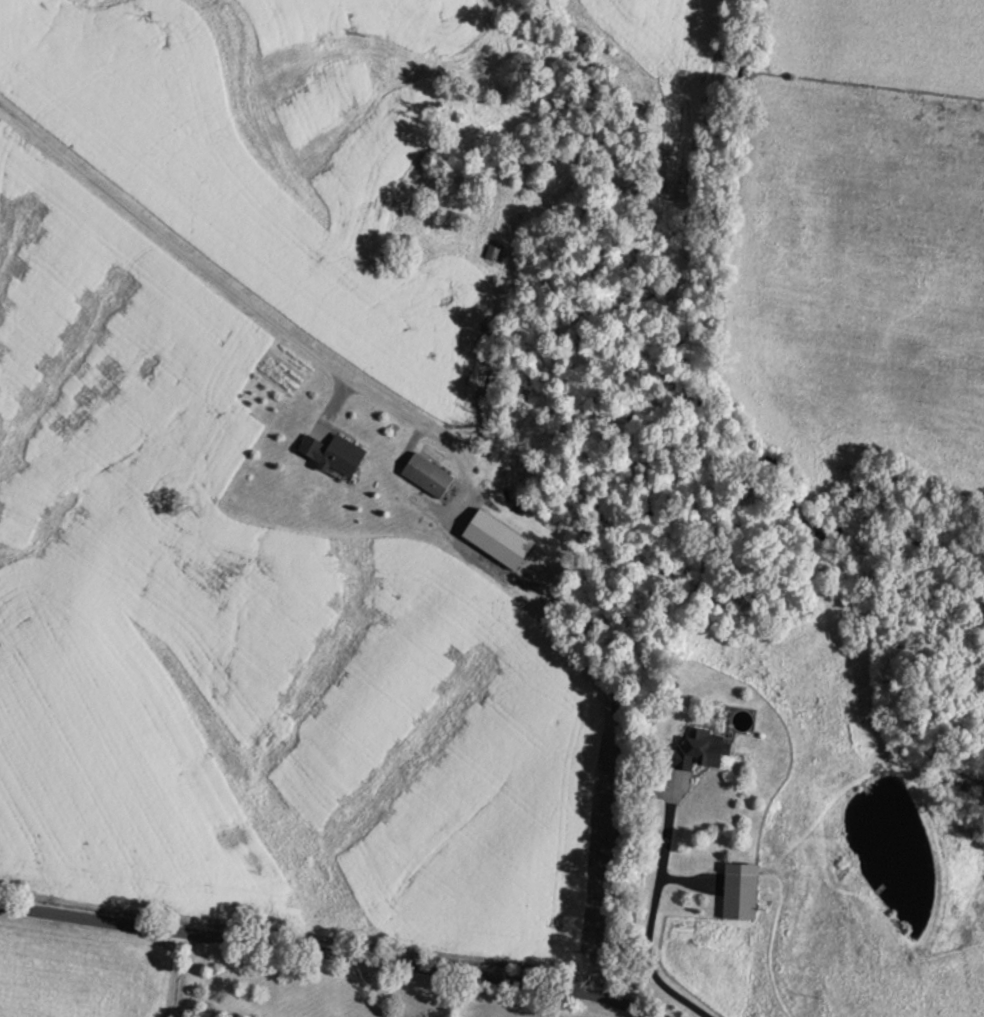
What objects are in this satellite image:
road: (252, 306)
road: (333, 403)
building: (337, 453)
building: (430, 475)
road: (714, 503)
building: (710, 747)
building: (744, 895)
road: (325, 951)
road: (192, 976)

